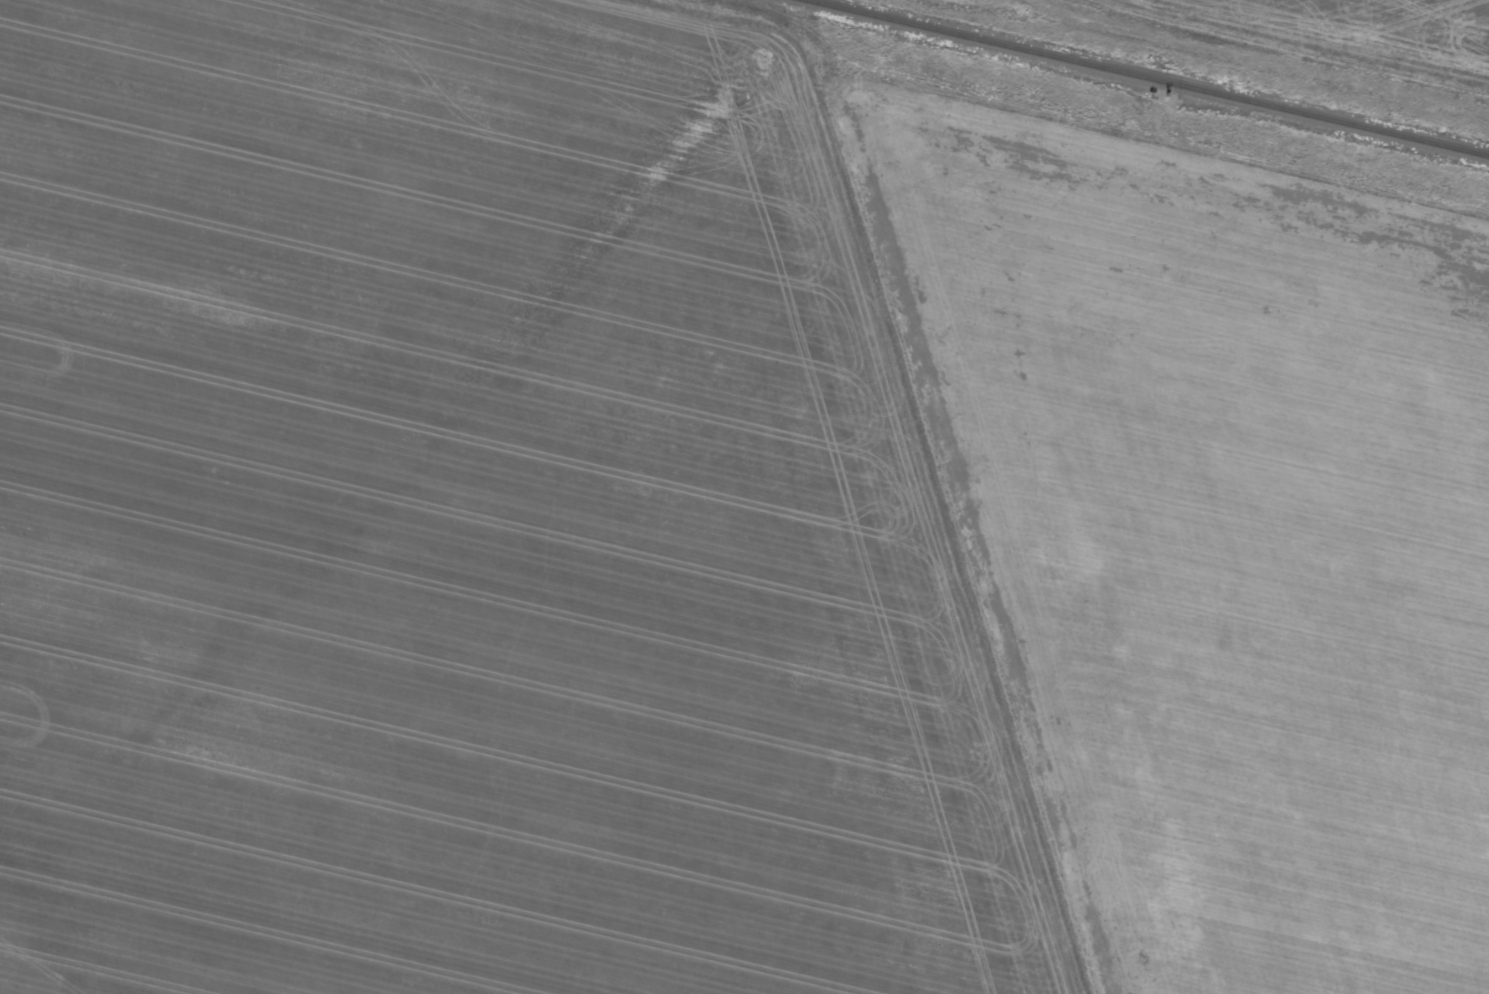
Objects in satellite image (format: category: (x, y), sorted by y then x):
railway: (1149, 77)

